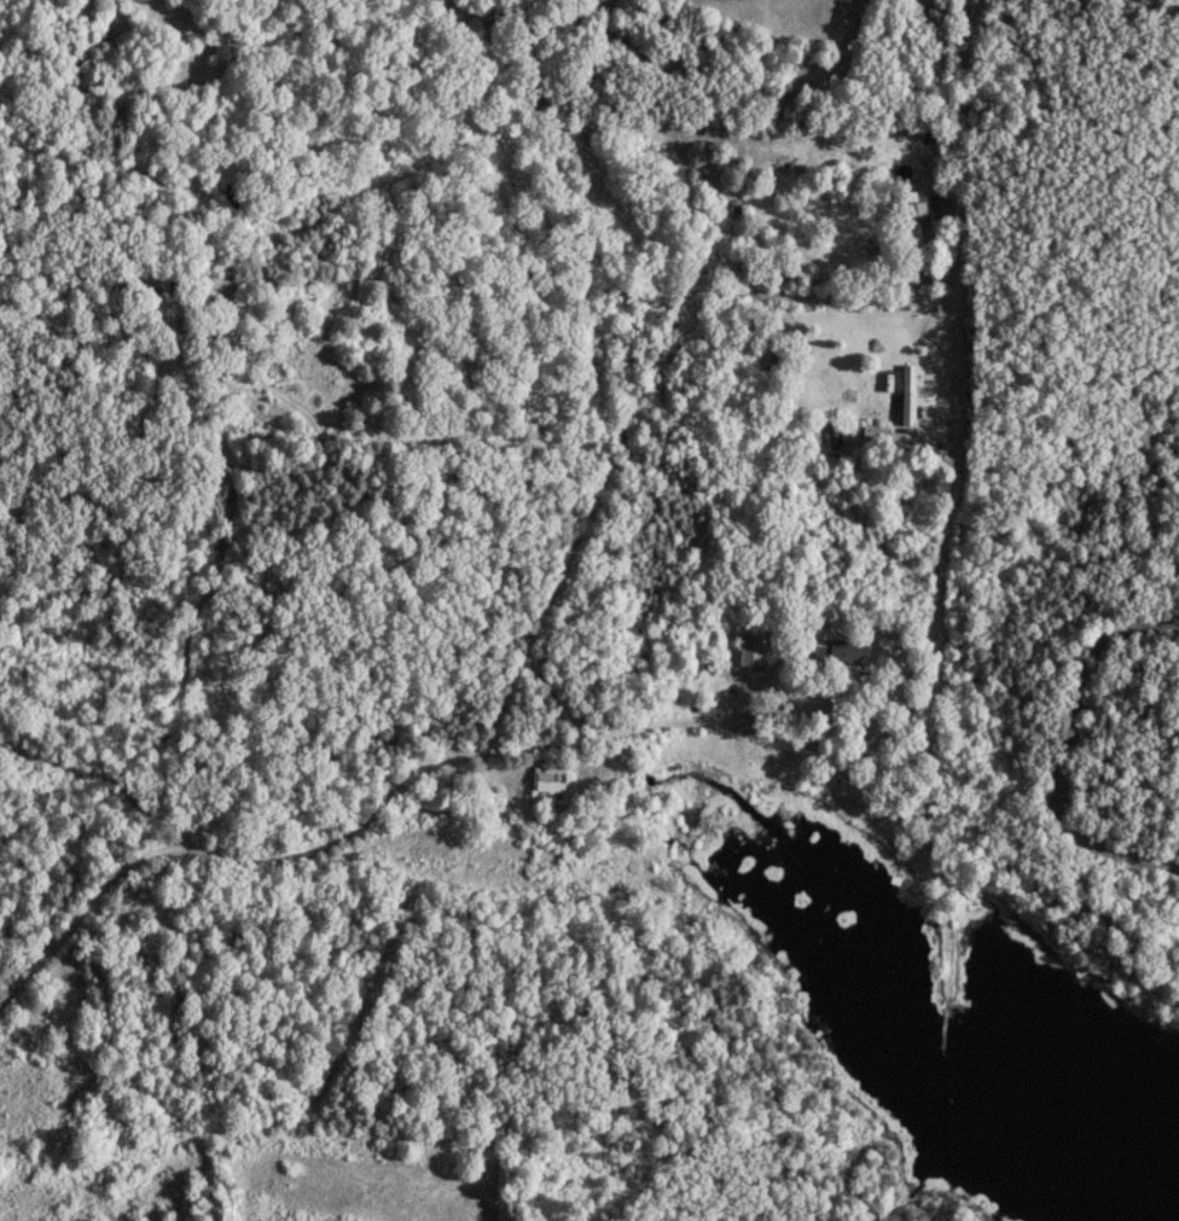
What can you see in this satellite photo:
building: (911, 216)
building: (887, 248)
road: (575, 263)
building: (181, 331)
building: (907, 393)
building: (875, 430)
building: (750, 646)
building: (847, 652)
road: (832, 688)
road: (1078, 713)
road: (803, 748)
building: (547, 778)

